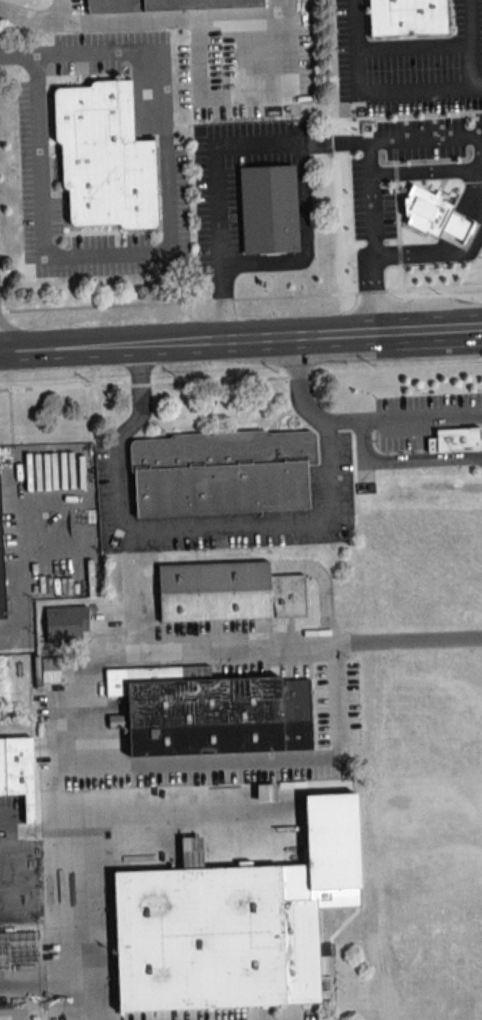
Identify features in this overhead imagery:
building: (166, 5)
road: (38, 16)
road: (182, 17)
building: (405, 17)
road: (473, 42)
road: (415, 43)
road: (18, 52)
road: (478, 84)
road: (371, 90)
road: (261, 143)
building: (102, 160)
road: (437, 170)
road: (364, 179)
road: (481, 181)
building: (270, 212)
road: (158, 251)
road: (432, 257)
road: (426, 333)
road: (258, 342)
road: (7, 345)
road: (96, 350)
road: (23, 354)
road: (403, 417)
building: (456, 440)
building: (220, 470)
road: (223, 523)
building: (2, 568)
building: (227, 592)
road: (127, 611)
building: (64, 625)
road: (236, 655)
building: (56, 671)
building: (217, 715)
road: (247, 752)
building: (17, 765)
road: (59, 869)
building: (215, 937)
road: (33, 982)
road: (69, 1000)

